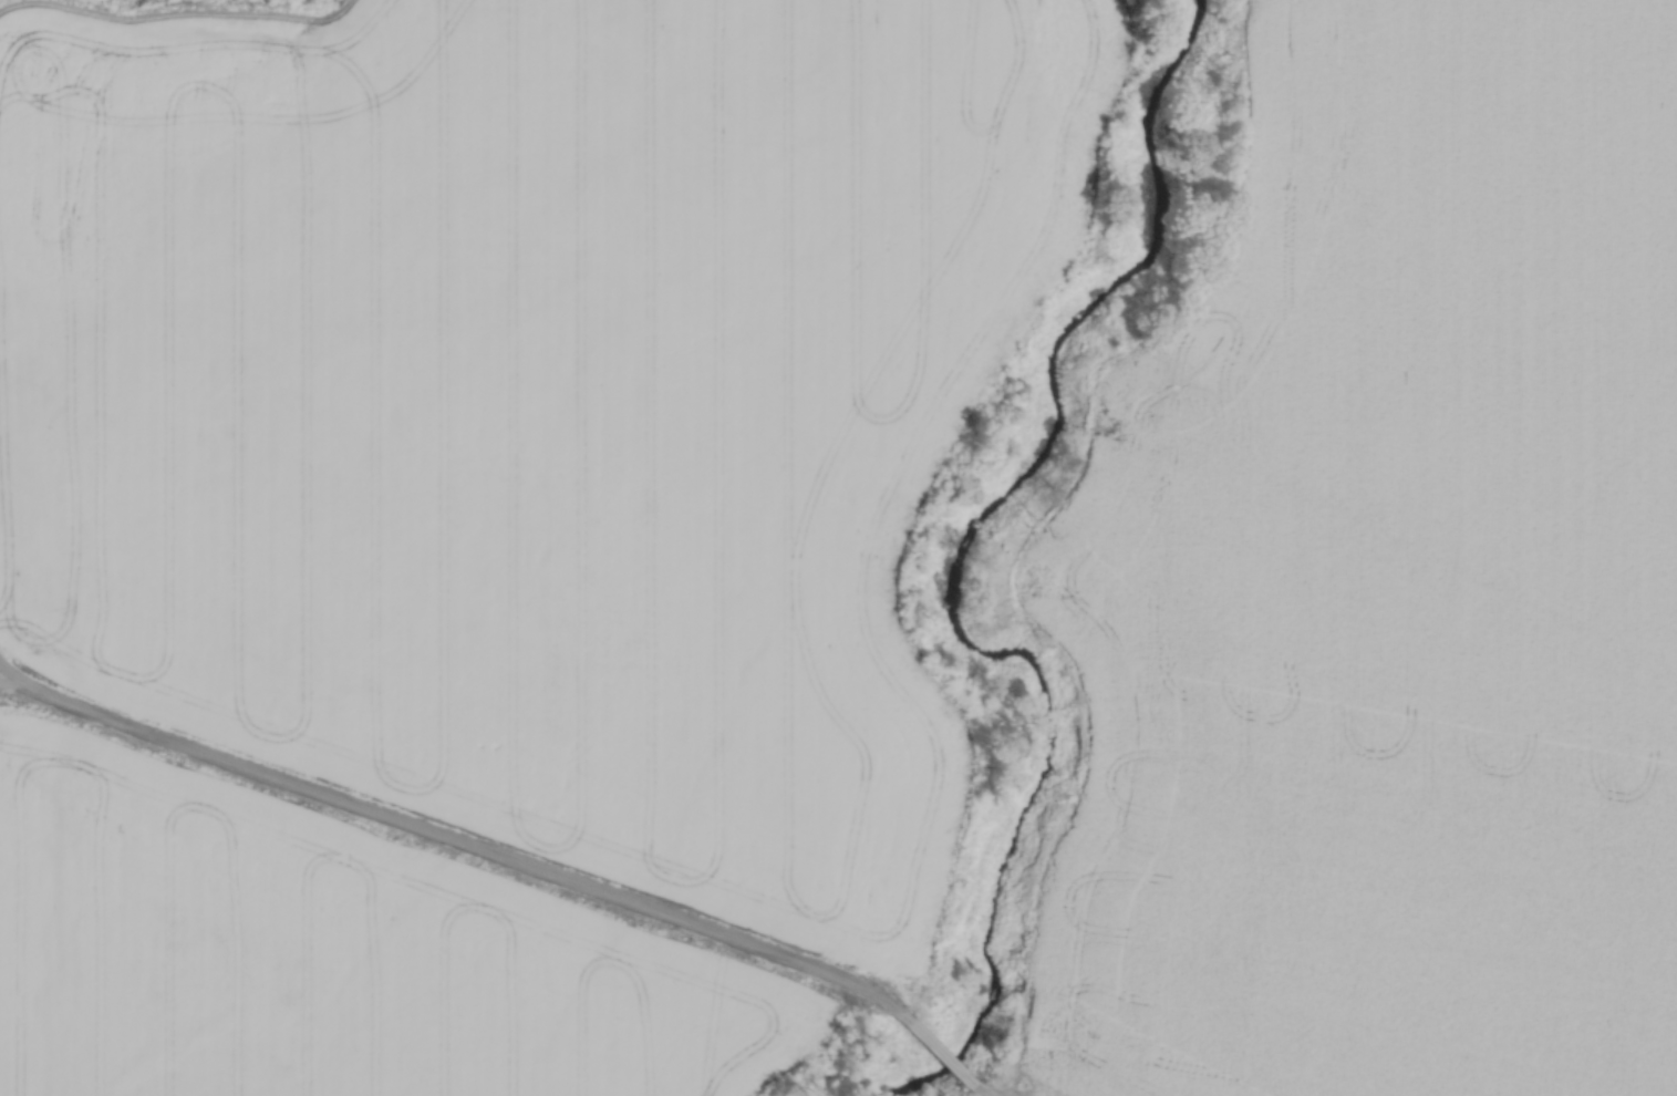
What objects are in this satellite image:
road: (7, 682)
road: (459, 845)
road: (950, 1054)
road: (992, 1094)

